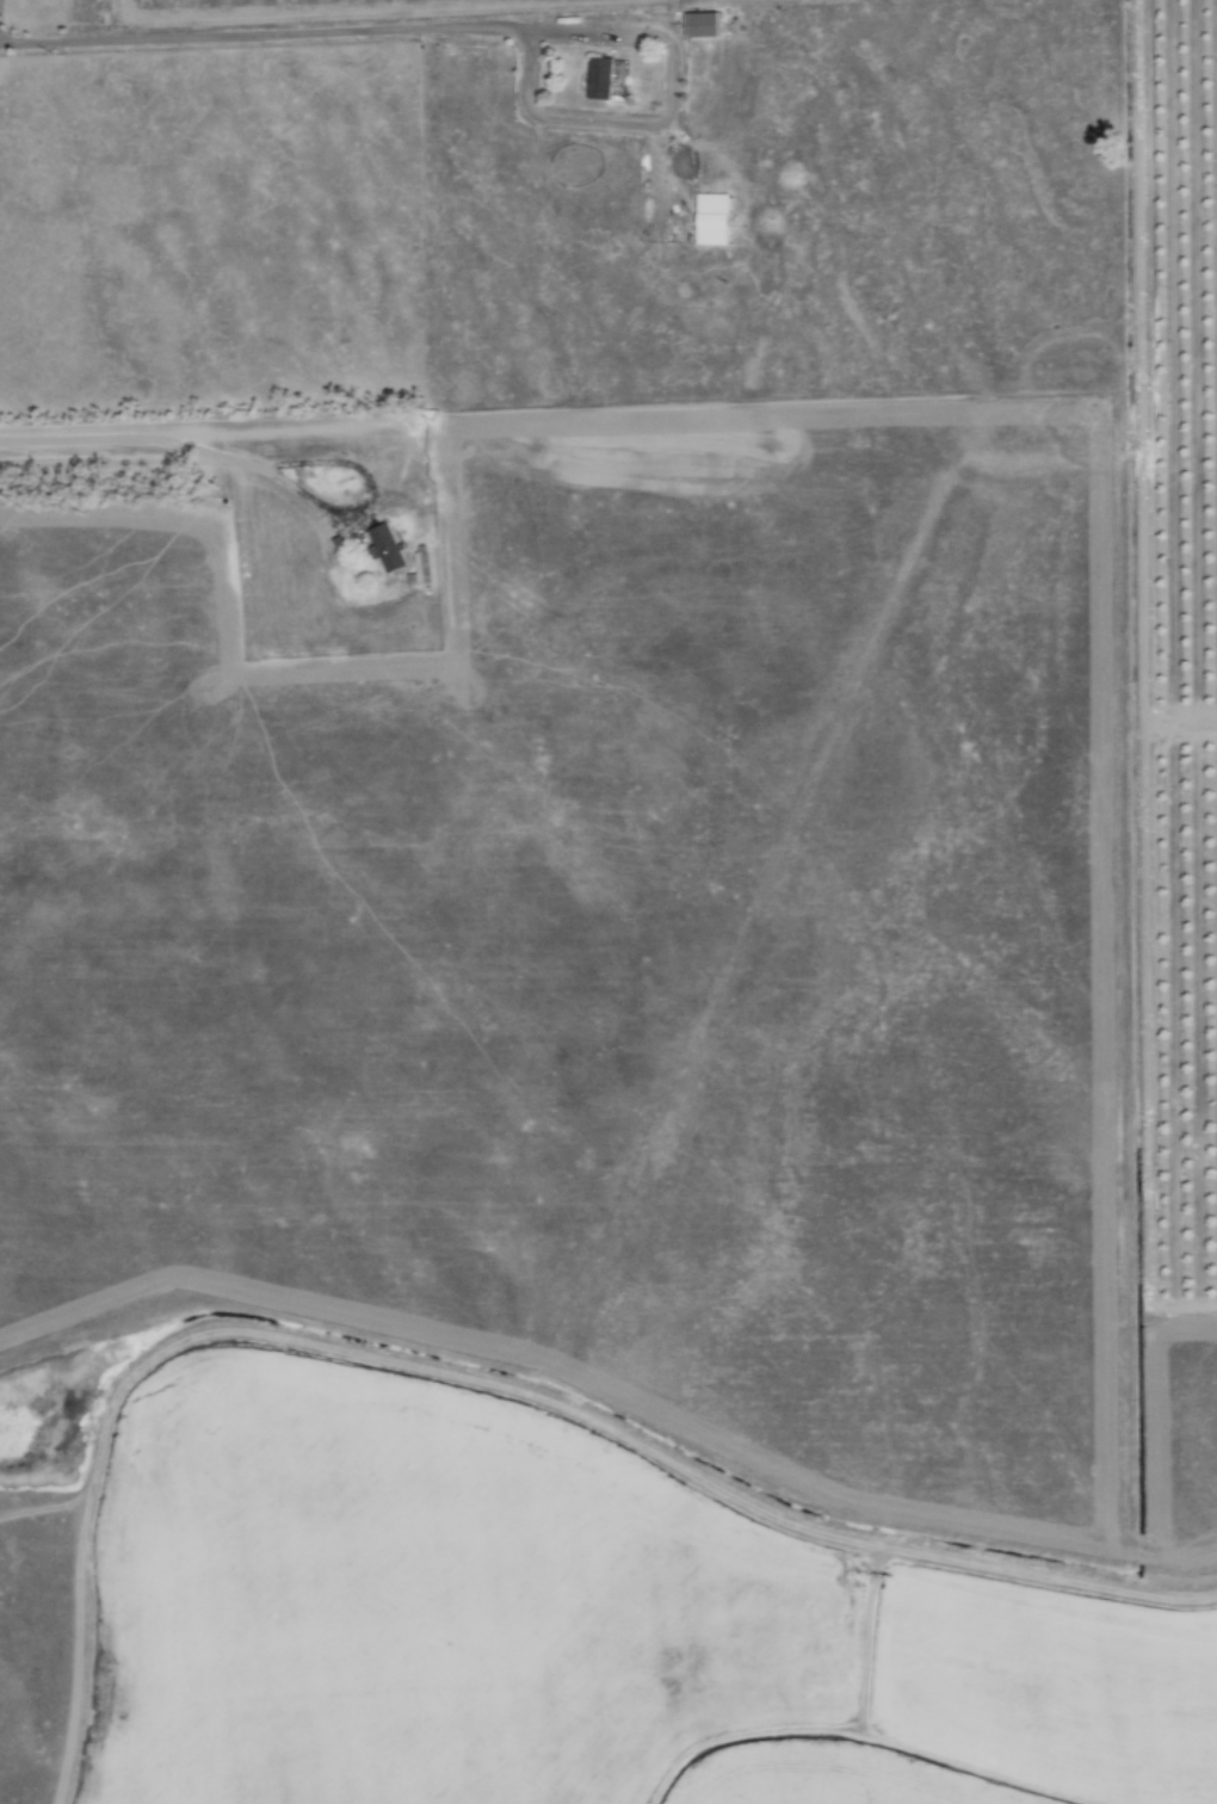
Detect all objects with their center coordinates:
building: (704, 25)
road: (566, 31)
building: (600, 80)
building: (712, 220)
road: (168, 459)
building: (387, 548)
building: (420, 570)
road: (1184, 1295)
road: (570, 1422)

